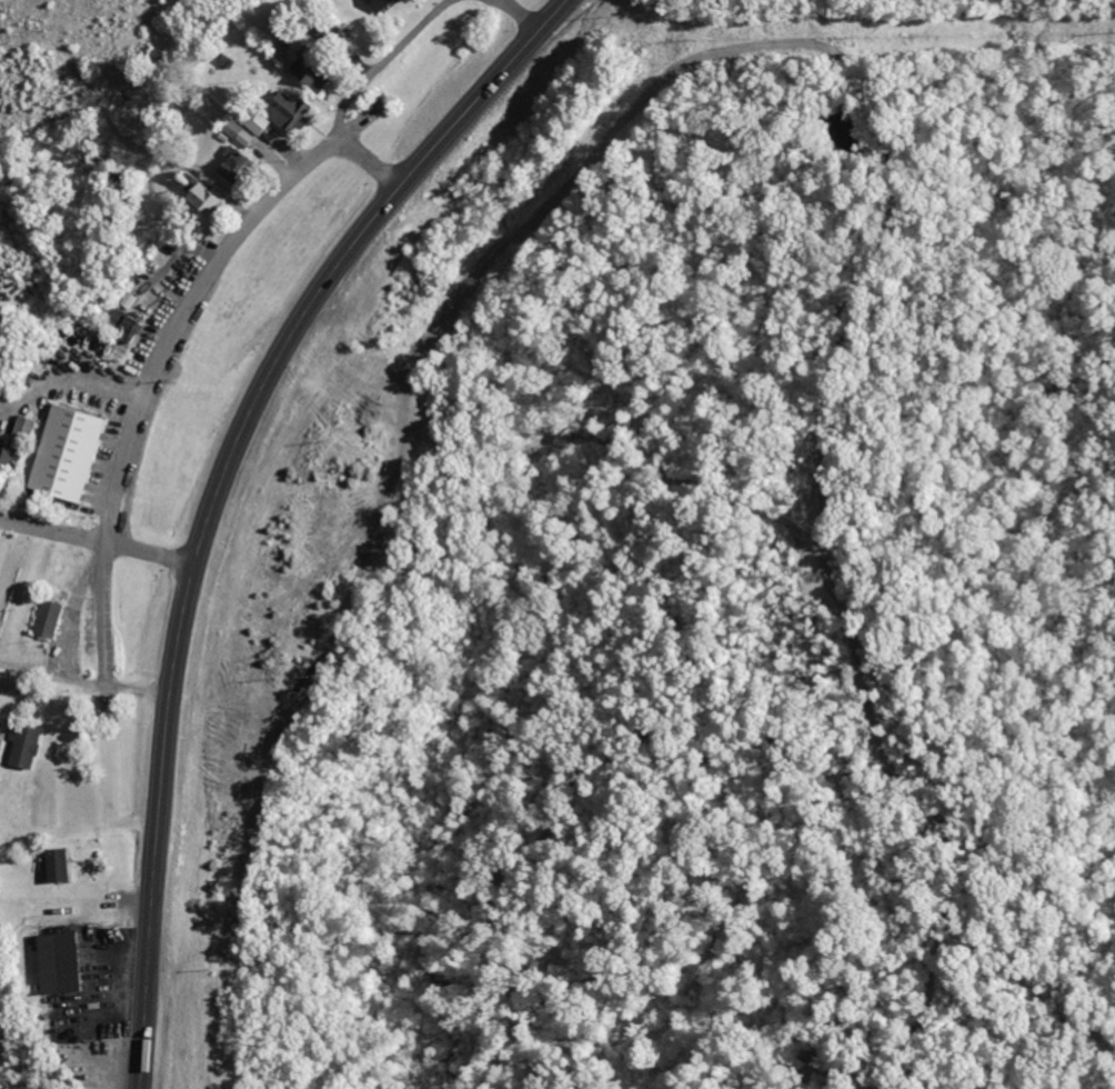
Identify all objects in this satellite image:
building: (374, 4)
road: (489, 7)
road: (509, 20)
road: (359, 63)
building: (304, 72)
building: (274, 112)
building: (234, 131)
building: (229, 164)
building: (201, 197)
building: (121, 322)
building: (168, 368)
road: (133, 377)
building: (60, 452)
road: (213, 489)
road: (139, 552)
building: (43, 618)
building: (19, 746)
building: (52, 865)
building: (53, 962)

